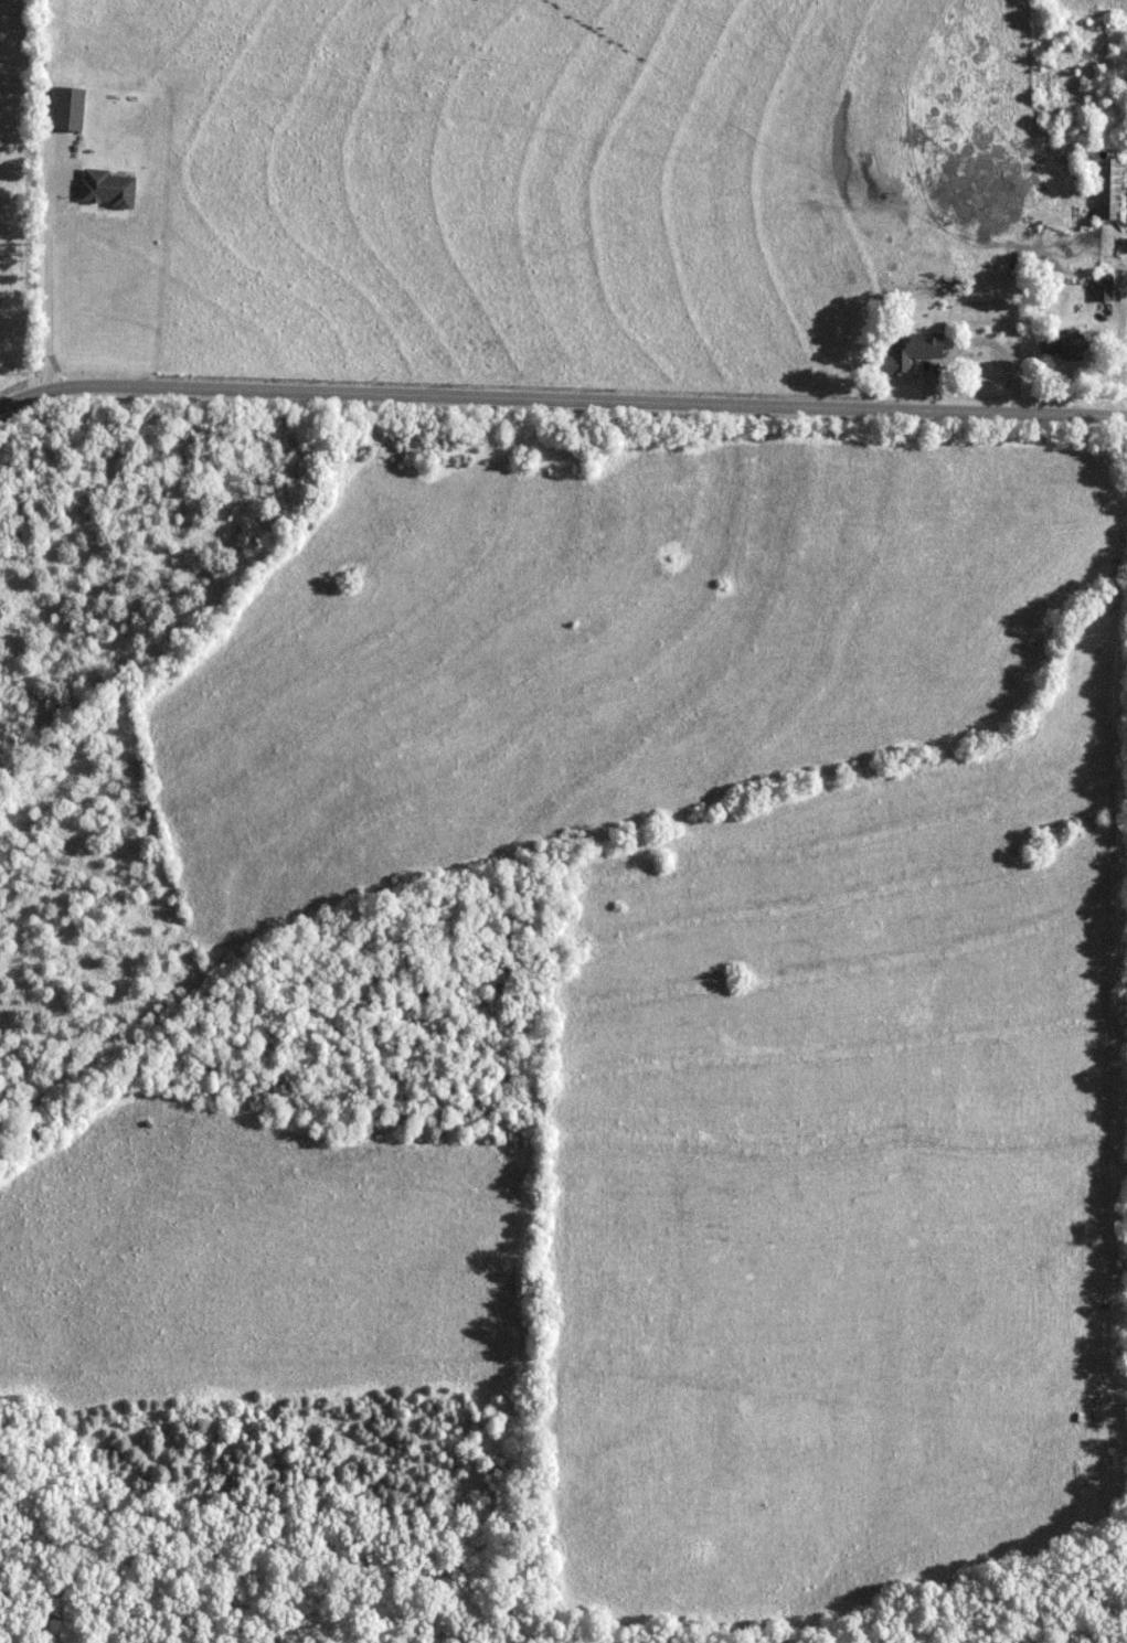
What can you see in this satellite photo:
crop: (1089, 8)
building: (70, 109)
building: (108, 189)
building: (1108, 190)
road: (46, 264)
building: (1103, 292)
building: (1067, 346)
building: (911, 354)
road: (559, 393)
crop: (598, 652)
crop: (847, 1172)

